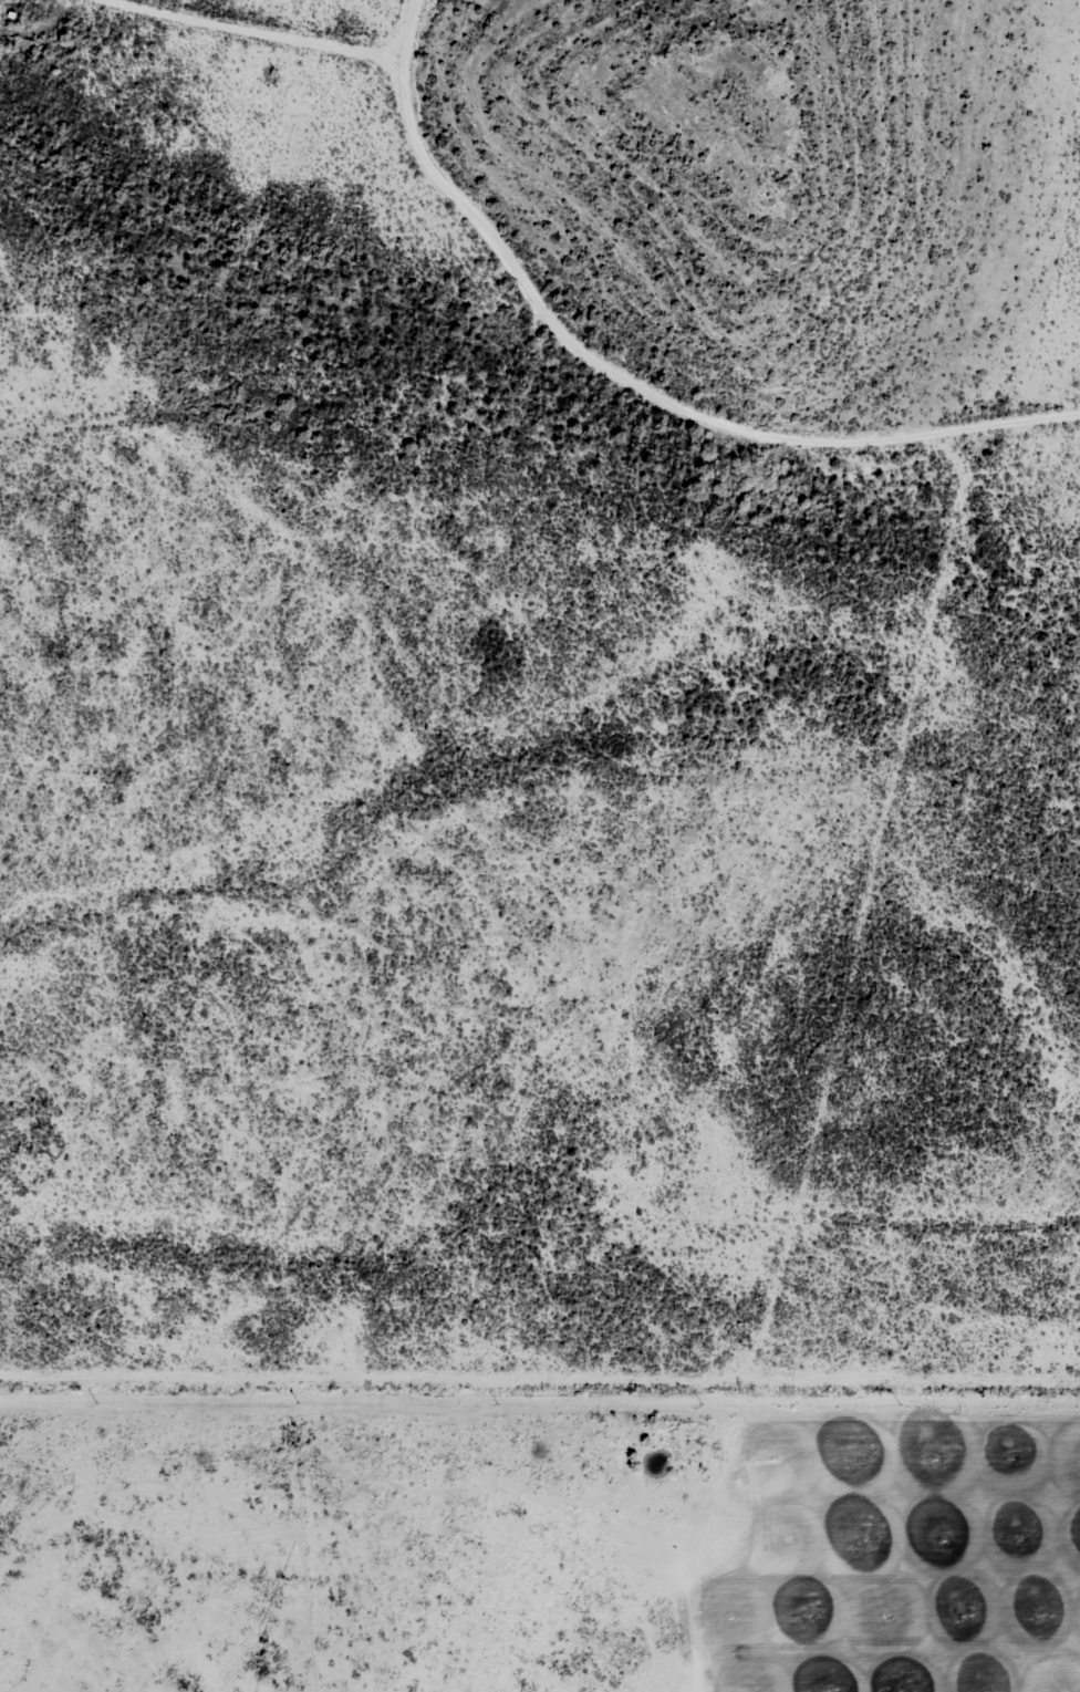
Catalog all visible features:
road: (219, 25)
road: (266, 398)
road: (604, 413)

